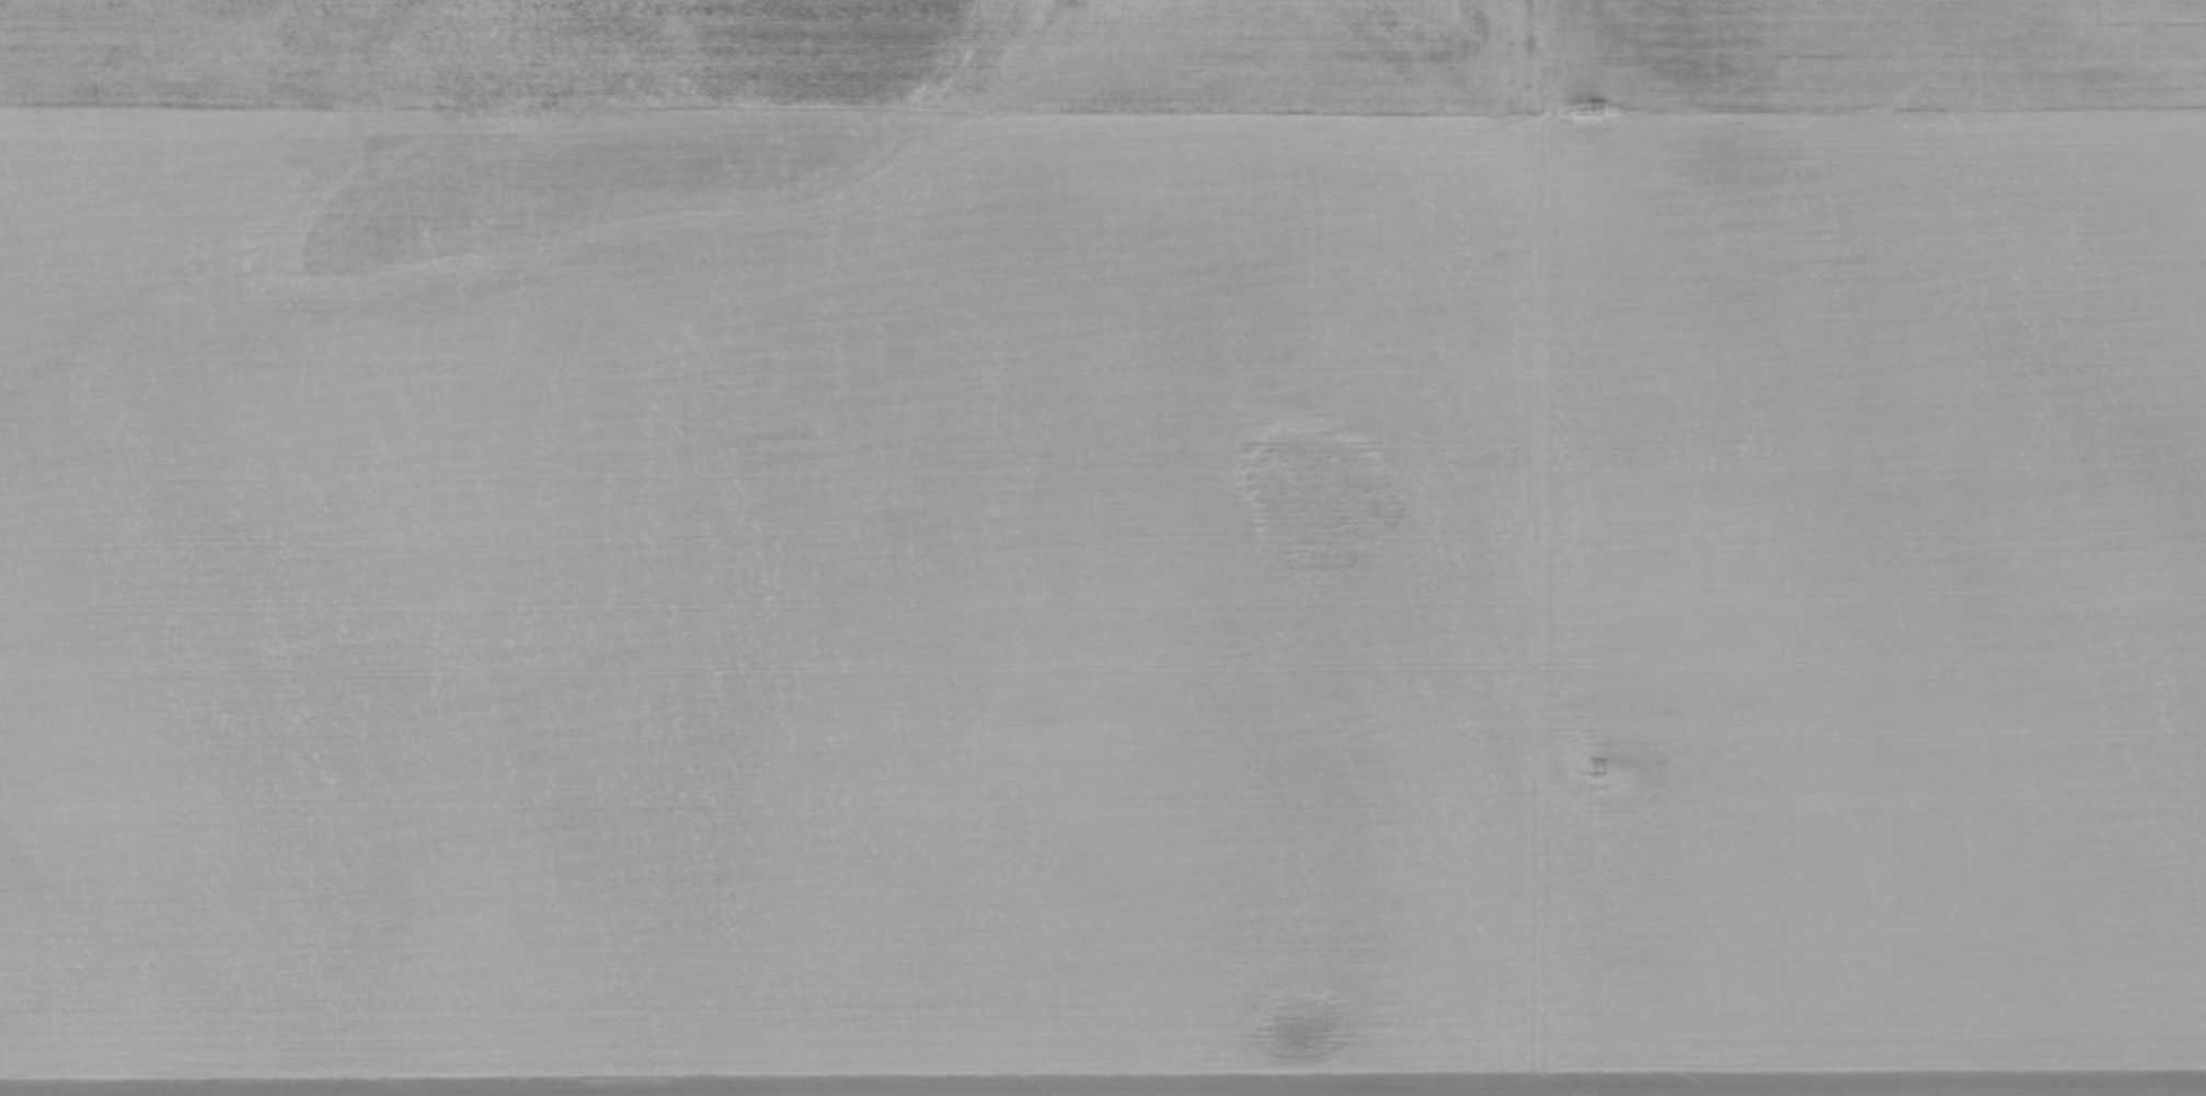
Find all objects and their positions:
power tower: (1597, 114)
crop: (1103, 547)
power tower: (1598, 773)

